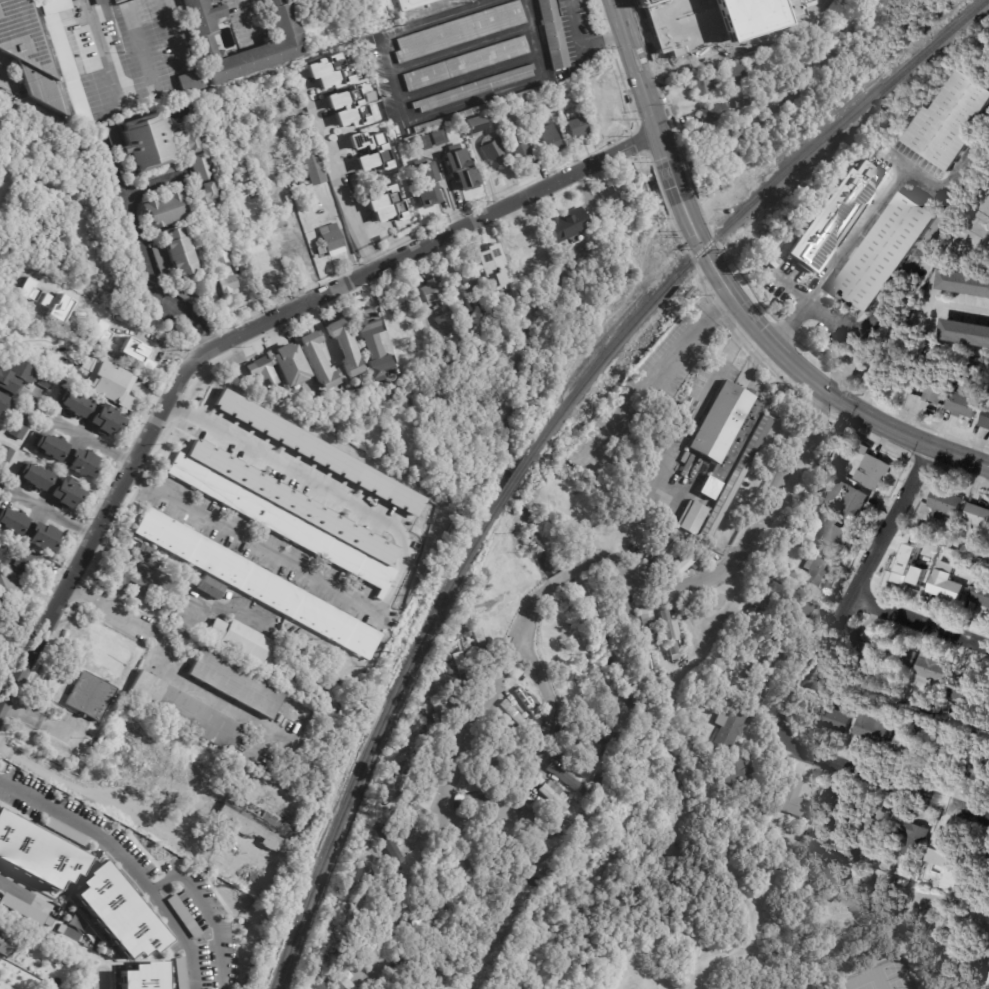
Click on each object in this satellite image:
building: (47, 1)
building: (102, 2)
building: (407, 5)
building: (175, 8)
road: (116, 10)
road: (247, 16)
road: (170, 31)
building: (459, 31)
building: (565, 31)
building: (552, 34)
building: (283, 41)
road: (138, 44)
road: (581, 47)
building: (28, 52)
road: (103, 54)
building: (693, 57)
building: (65, 59)
building: (465, 64)
building: (331, 71)
building: (715, 73)
road: (640, 76)
building: (735, 77)
building: (189, 81)
building: (704, 85)
road: (668, 87)
building: (473, 89)
building: (153, 93)
building: (746, 100)
building: (739, 102)
road: (688, 105)
building: (348, 108)
building: (477, 110)
building: (713, 113)
building: (546, 118)
building: (952, 122)
building: (474, 124)
building: (578, 127)
building: (449, 129)
building: (419, 137)
building: (438, 137)
building: (550, 139)
building: (144, 142)
building: (522, 152)
building: (493, 154)
building: (377, 155)
building: (198, 168)
building: (314, 170)
building: (460, 170)
road: (333, 171)
building: (428, 172)
road: (154, 185)
road: (678, 191)
building: (607, 194)
building: (248, 200)
building: (385, 205)
building: (163, 210)
railway: (741, 213)
building: (834, 216)
building: (566, 224)
road: (135, 229)
building: (331, 240)
building: (526, 244)
building: (886, 253)
building: (176, 254)
building: (221, 255)
road: (847, 255)
building: (491, 260)
building: (260, 263)
building: (38, 276)
building: (471, 282)
building: (964, 283)
building: (227, 284)
building: (170, 287)
building: (31, 292)
building: (432, 292)
building: (188, 297)
building: (400, 305)
road: (964, 306)
building: (100, 311)
road: (126, 315)
building: (369, 315)
building: (468, 315)
building: (446, 323)
road: (202, 325)
road: (245, 331)
building: (492, 331)
road: (194, 333)
building: (461, 333)
building: (964, 333)
building: (4, 335)
building: (119, 340)
building: (407, 343)
building: (344, 348)
building: (376, 358)
building: (318, 360)
building: (895, 361)
building: (90, 362)
building: (290, 366)
building: (262, 368)
road: (662, 368)
building: (15, 375)
road: (717, 377)
building: (360, 378)
building: (45, 379)
road: (813, 381)
building: (106, 382)
building: (633, 387)
building: (669, 387)
building: (931, 389)
building: (4, 402)
building: (963, 405)
building: (91, 411)
building: (985, 419)
building: (726, 427)
building: (17, 430)
building: (863, 449)
building: (5, 452)
building: (318, 452)
building: (68, 455)
building: (872, 473)
building: (736, 478)
building: (823, 478)
railway: (513, 482)
building: (51, 484)
road: (323, 485)
building: (710, 489)
building: (817, 501)
building: (845, 501)
building: (590, 502)
building: (942, 504)
building: (563, 510)
building: (975, 517)
building: (692, 518)
building: (280, 519)
building: (620, 523)
road: (219, 526)
building: (28, 529)
building: (807, 540)
building: (833, 540)
building: (639, 543)
road: (741, 544)
building: (666, 547)
building: (914, 548)
building: (148, 555)
building: (21, 560)
road: (129, 560)
building: (682, 562)
building: (967, 568)
building: (518, 570)
building: (771, 570)
road: (568, 574)
building: (813, 574)
building: (903, 578)
building: (126, 580)
building: (258, 582)
building: (942, 585)
building: (210, 586)
building: (11, 588)
building: (779, 590)
road: (851, 594)
building: (507, 597)
building: (977, 597)
building: (756, 601)
building: (752, 610)
building: (625, 613)
building: (796, 614)
building: (765, 615)
building: (10, 620)
road: (919, 621)
building: (473, 623)
building: (479, 623)
building: (649, 628)
building: (557, 632)
building: (467, 633)
building: (670, 635)
building: (240, 637)
building: (478, 644)
building: (777, 653)
building: (860, 653)
building: (899, 656)
building: (459, 659)
road: (165, 661)
building: (930, 668)
building: (275, 672)
building: (283, 676)
building: (237, 683)
building: (757, 685)
building: (963, 691)
building: (91, 695)
building: (454, 697)
building: (869, 699)
building: (986, 699)
building: (530, 703)
building: (185, 708)
building: (905, 710)
building: (594, 715)
building: (516, 717)
building: (439, 718)
building: (834, 720)
building: (962, 720)
building: (920, 722)
building: (937, 725)
building: (728, 727)
building: (870, 728)
building: (429, 730)
building: (582, 740)
railway: (374, 741)
building: (605, 742)
building: (512, 743)
building: (427, 748)
building: (905, 748)
building: (940, 755)
road: (536, 759)
building: (493, 762)
building: (572, 764)
building: (974, 772)
building: (418, 777)
building: (564, 777)
road: (448, 780)
building: (598, 780)
building: (739, 780)
road: (881, 781)
building: (482, 783)
road: (77, 789)
building: (583, 791)
building: (555, 797)
building: (478, 800)
building: (414, 802)
building: (795, 803)
building: (836, 814)
building: (569, 815)
building: (726, 815)
building: (550, 816)
building: (403, 821)
building: (882, 821)
building: (254, 832)
building: (791, 837)
building: (910, 837)
building: (386, 842)
building: (510, 842)
building: (498, 843)
building: (488, 844)
building: (38, 852)
building: (472, 852)
building: (945, 856)
building: (448, 857)
building: (463, 860)
road: (124, 862)
building: (980, 864)
building: (381, 865)
building: (375, 885)
road: (20, 892)
building: (357, 899)
building: (22, 909)
building: (357, 911)
building: (118, 912)
road: (207, 912)
park: (771, 918)
building: (15, 937)
building: (408, 937)
building: (360, 946)
building: (5, 947)
building: (347, 957)
building: (180, 973)
building: (143, 976)
building: (337, 979)
building: (399, 979)
park: (893, 980)
building: (320, 985)
park: (866, 985)
road: (988, 987)

